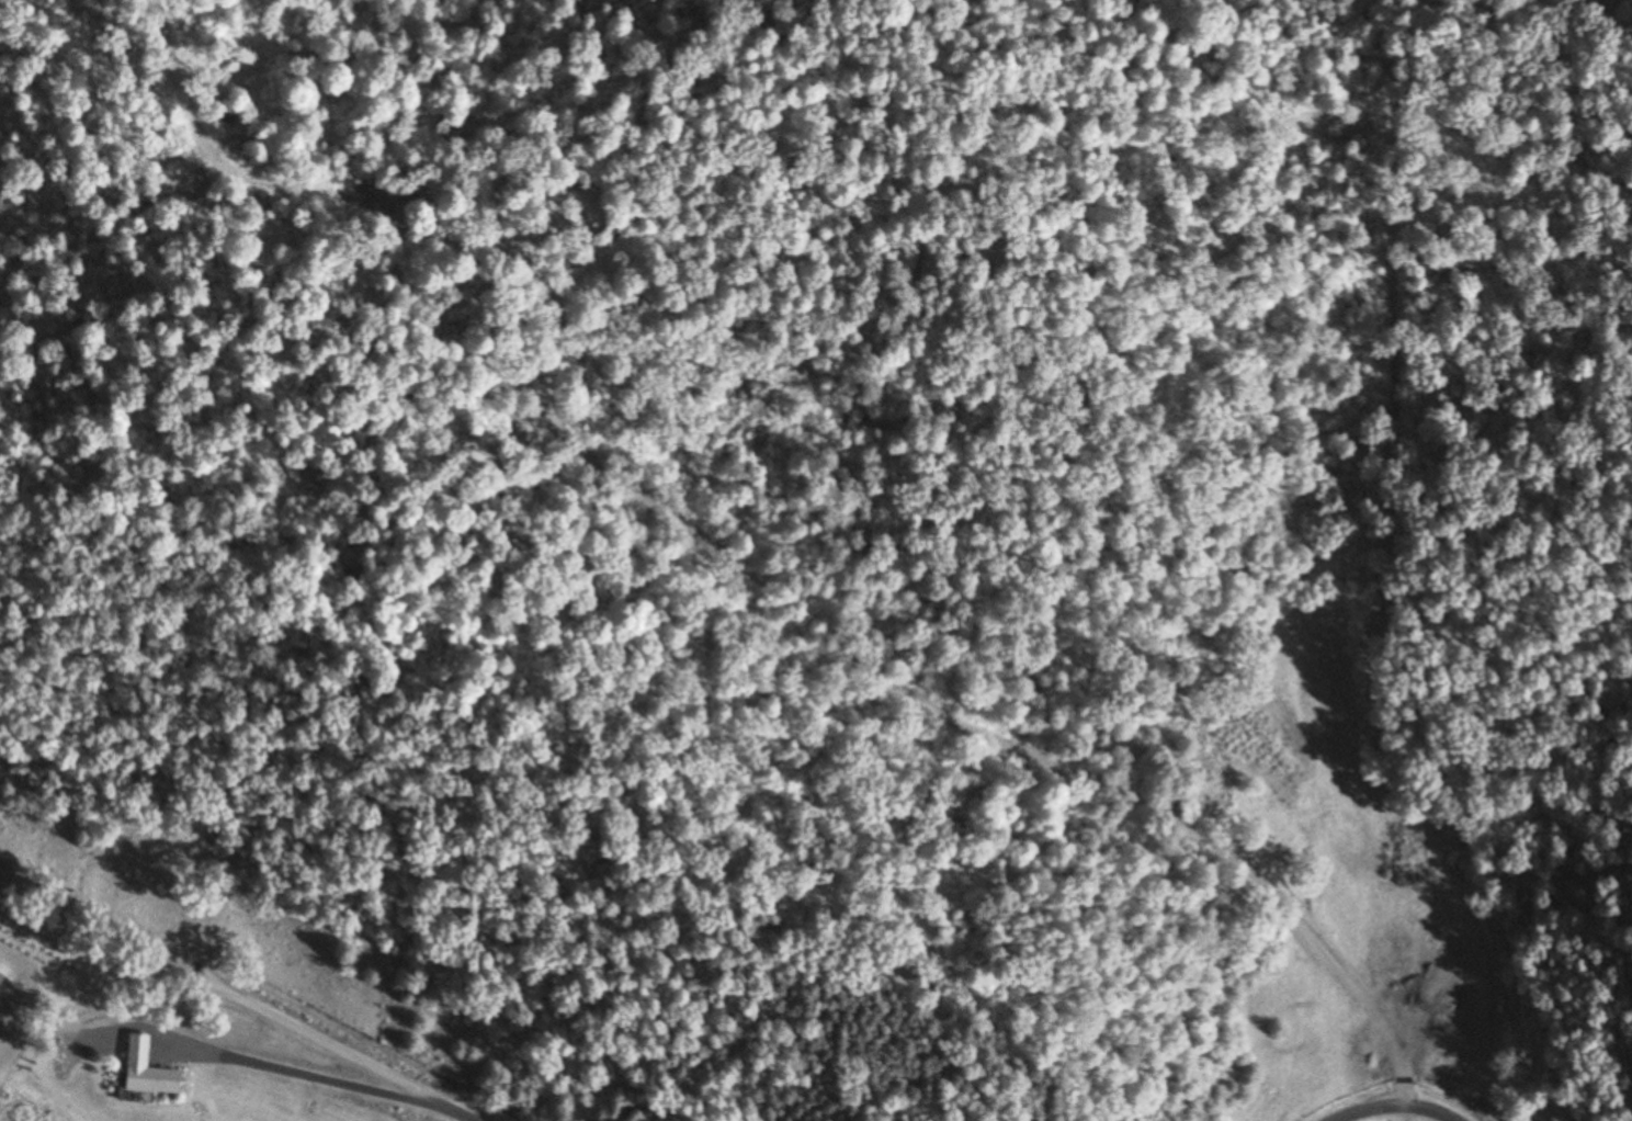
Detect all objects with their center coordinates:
building: (2, 998)
road: (273, 1015)
building: (141, 1071)
building: (55, 1088)

